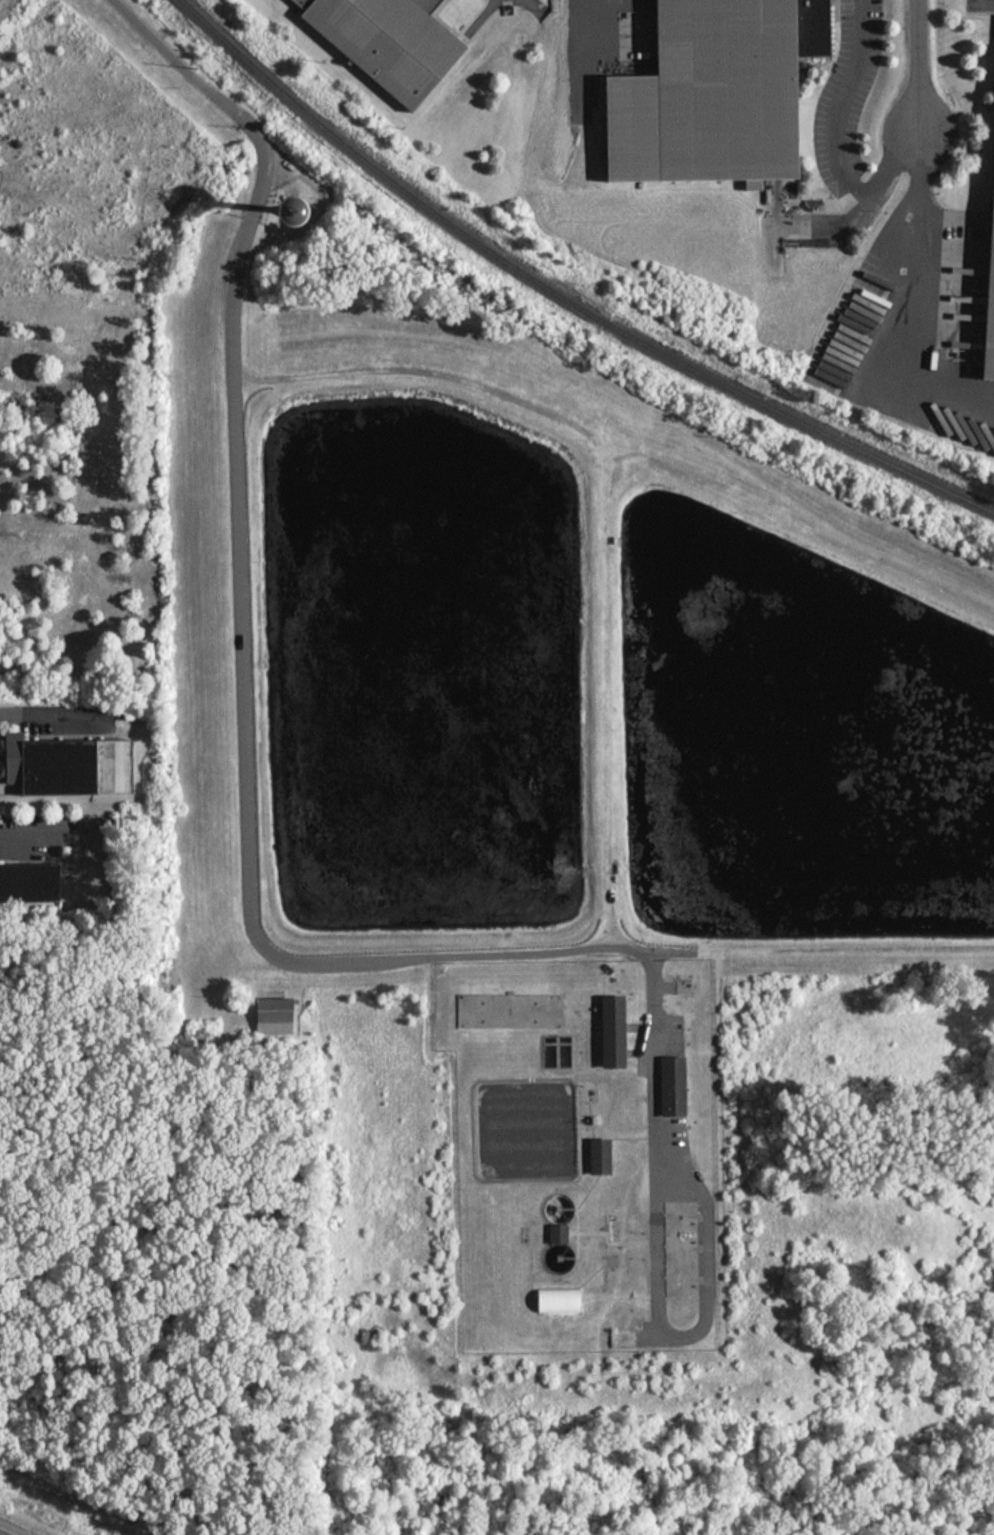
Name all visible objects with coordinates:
road: (529, 1)
building: (393, 42)
road: (585, 55)
road: (918, 66)
building: (718, 90)
road: (842, 102)
road: (894, 165)
water tower: (291, 211)
building: (309, 212)
road: (914, 289)
railway: (561, 298)
building: (993, 353)
road: (51, 714)
road: (242, 748)
building: (79, 767)
road: (31, 838)
building: (30, 883)
building: (510, 1011)
building: (273, 1014)
building: (612, 1029)
building: (671, 1085)
wastewater plant: (583, 1151)
building: (599, 1155)
building: (561, 1232)
building: (557, 1298)
road: (700, 1325)

